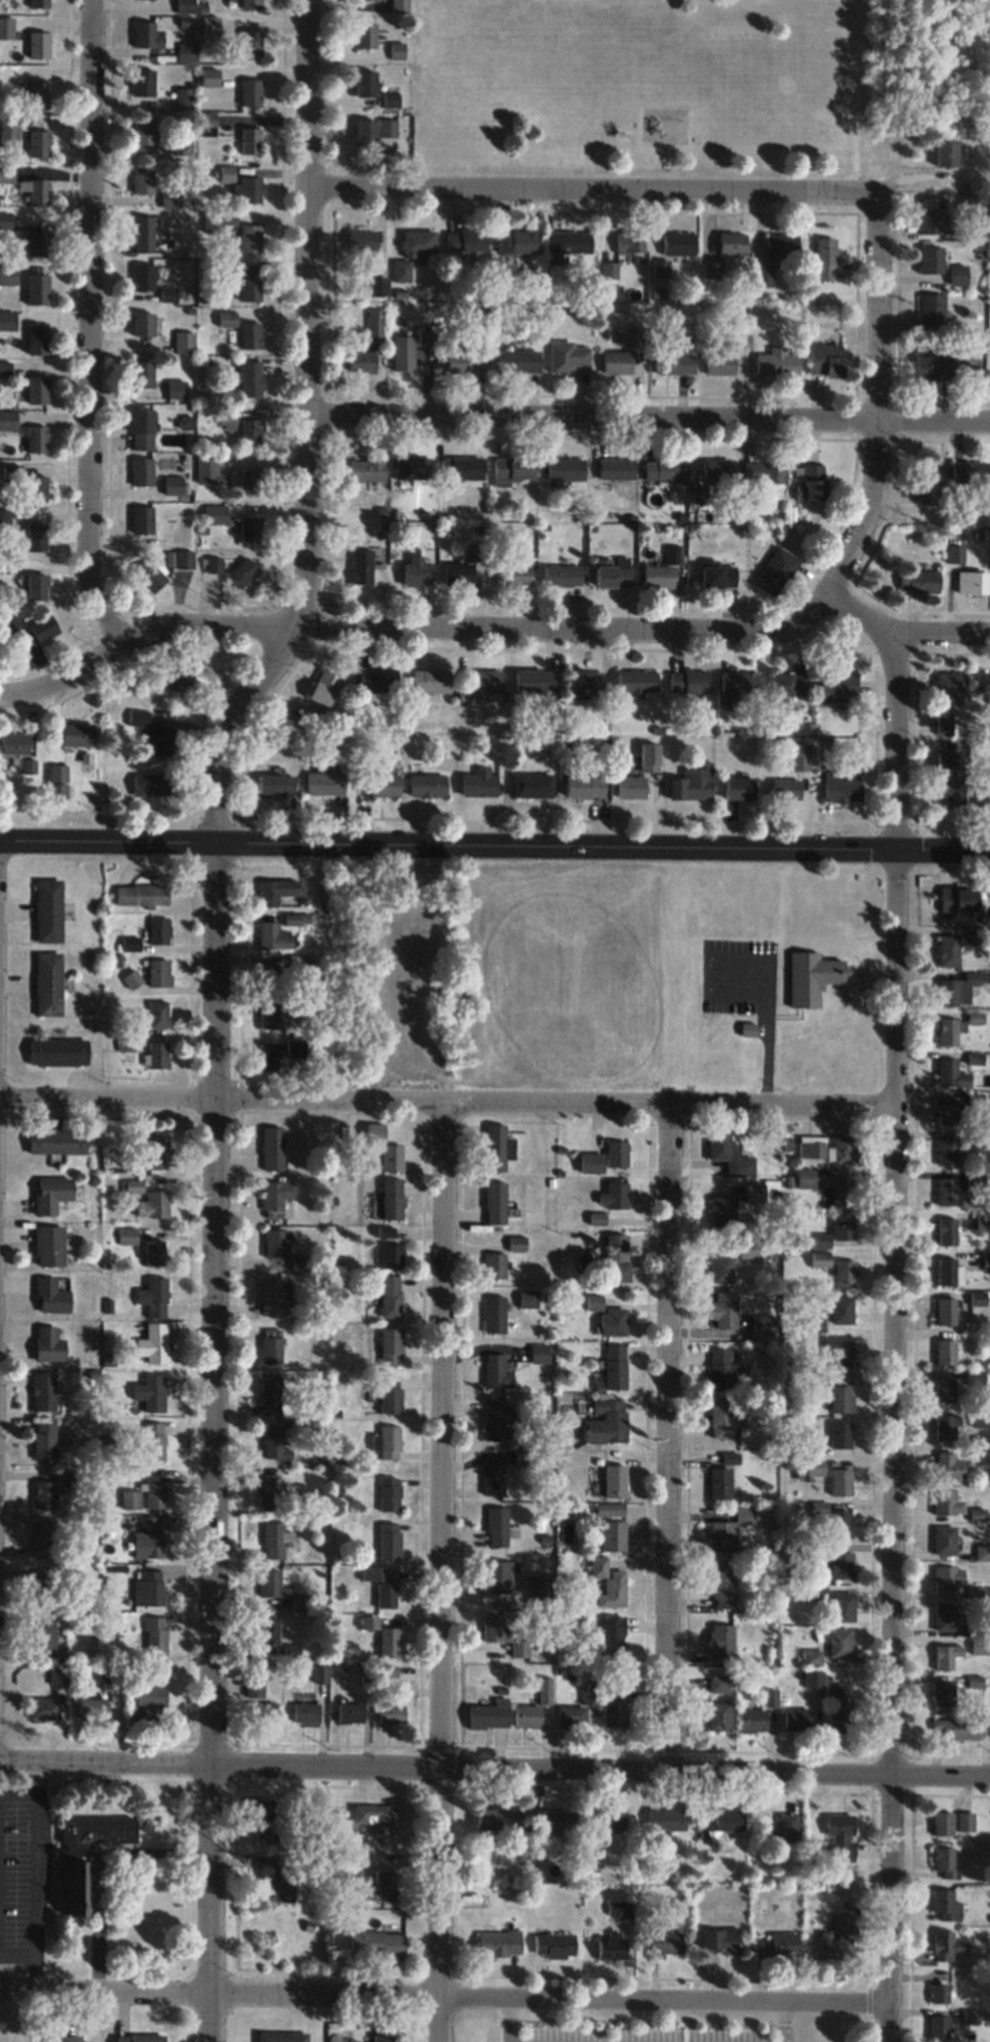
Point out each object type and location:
building: (38, 3)
building: (251, 4)
building: (184, 6)
building: (399, 6)
building: (209, 24)
building: (6, 30)
building: (149, 35)
building: (365, 35)
building: (250, 43)
building: (37, 44)
building: (396, 50)
building: (185, 51)
building: (208, 76)
building: (143, 81)
building: (365, 83)
building: (249, 92)
building: (37, 93)
building: (182, 98)
building: (390, 100)
building: (386, 127)
building: (142, 130)
building: (8, 131)
building: (364, 131)
building: (249, 140)
building: (37, 142)
building: (182, 145)
building: (946, 153)
building: (5, 172)
building: (142, 179)
building: (242, 186)
road: (594, 189)
building: (34, 190)
building: (170, 197)
building: (930, 214)
building: (218, 222)
building: (167, 226)
building: (142, 233)
building: (249, 237)
building: (362, 239)
building: (465, 239)
building: (418, 240)
building: (518, 240)
building: (36, 241)
building: (569, 241)
building: (629, 241)
building: (678, 242)
building: (732, 242)
building: (781, 244)
building: (825, 258)
building: (930, 258)
building: (659, 267)
building: (712, 268)
building: (400, 269)
building: (957, 273)
building: (7, 274)
building: (141, 276)
building: (249, 281)
building: (376, 285)
building: (36, 288)
building: (166, 293)
building: (931, 311)
building: (226, 318)
building: (141, 324)
building: (374, 324)
road: (90, 329)
building: (249, 334)
building: (426, 334)
building: (627, 335)
building: (35, 340)
building: (182, 341)
building: (402, 352)
building: (565, 356)
building: (718, 359)
building: (517, 360)
building: (825, 360)
building: (360, 361)
building: (466, 361)
building: (615, 361)
building: (776, 361)
building: (672, 362)
building: (933, 366)
building: (4, 369)
building: (140, 374)
building: (248, 377)
building: (175, 389)
building: (36, 390)
road: (878, 403)
building: (226, 418)
building: (7, 420)
road: (650, 423)
building: (141, 428)
building: (249, 432)
building: (35, 439)
building: (413, 467)
building: (461, 467)
building: (562, 468)
building: (613, 468)
building: (660, 468)
building: (364, 469)
building: (509, 469)
building: (715, 469)
building: (141, 470)
building: (207, 470)
building: (761, 471)
building: (11, 472)
building: (967, 472)
building: (250, 481)
building: (811, 482)
building: (926, 483)
building: (172, 484)
building: (35, 486)
building: (697, 493)
building: (214, 513)
building: (141, 519)
building: (3, 520)
building: (248, 528)
building: (35, 536)
building: (954, 554)
building: (180, 558)
building: (211, 564)
building: (3, 565)
building: (361, 566)
building: (662, 569)
building: (610, 571)
building: (241, 572)
building: (415, 572)
building: (775, 572)
building: (457, 573)
building: (511, 574)
building: (561, 574)
building: (151, 576)
building: (717, 576)
building: (918, 581)
building: (971, 582)
building: (34, 586)
building: (12, 624)
building: (42, 628)
road: (412, 635)
road: (903, 637)
building: (376, 679)
building: (177, 680)
building: (429, 680)
building: (481, 680)
building: (533, 680)
building: (636, 681)
building: (688, 681)
building: (982, 681)
building: (584, 682)
building: (949, 684)
building: (787, 685)
building: (738, 686)
building: (838, 686)
building: (323, 687)
building: (311, 715)
building: (137, 718)
building: (943, 725)
building: (76, 735)
building: (161, 741)
building: (13, 743)
building: (799, 761)
building: (28, 766)
building: (948, 779)
building: (57, 781)
building: (479, 782)
building: (323, 783)
building: (692, 783)
building: (150, 784)
building: (274, 784)
building: (383, 784)
building: (426, 784)
building: (532, 785)
building: (584, 786)
building: (630, 787)
building: (739, 788)
building: (840, 788)
building: (785, 789)
building: (982, 794)
road: (494, 837)
building: (276, 890)
building: (141, 895)
building: (957, 897)
building: (48, 910)
building: (159, 930)
building: (976, 935)
building: (274, 936)
building: (131, 944)
building: (947, 949)
building: (158, 973)
building: (268, 974)
building: (811, 976)
building: (47, 984)
building: (956, 988)
road: (217, 1010)
building: (157, 1014)
building: (268, 1015)
building: (973, 1017)
building: (747, 1028)
building: (947, 1031)
building: (124, 1044)
building: (294, 1048)
building: (57, 1052)
building: (158, 1054)
building: (267, 1056)
building: (950, 1072)
road: (447, 1109)
building: (944, 1110)
building: (972, 1138)
building: (56, 1139)
building: (494, 1146)
building: (271, 1147)
building: (826, 1147)
building: (154, 1149)
building: (945, 1150)
building: (616, 1152)
building: (728, 1152)
building: (389, 1156)
building: (590, 1161)
building: (976, 1176)
building: (804, 1177)
building: (841, 1190)
building: (945, 1190)
building: (50, 1193)
building: (613, 1194)
building: (274, 1196)
building: (390, 1197)
building: (494, 1202)
building: (152, 1203)
building: (733, 1204)
building: (982, 1219)
building: (842, 1225)
building: (945, 1230)
building: (125, 1235)
building: (615, 1239)
building: (820, 1239)
building: (273, 1242)
building: (516, 1242)
building: (48, 1244)
building: (751, 1248)
building: (153, 1251)
building: (389, 1254)
building: (819, 1258)
building: (985, 1260)
building: (299, 1261)
building: (616, 1264)
building: (494, 1265)
building: (720, 1267)
building: (948, 1270)
building: (843, 1272)
building: (389, 1294)
building: (50, 1295)
building: (152, 1296)
building: (274, 1297)
building: (976, 1297)
building: (593, 1302)
building: (723, 1308)
building: (839, 1308)
building: (944, 1310)
building: (493, 1313)
building: (614, 1320)
building: (762, 1325)
road: (892, 1338)
building: (47, 1343)
building: (270, 1345)
building: (389, 1345)
building: (155, 1347)
building: (837, 1349)
building: (944, 1351)
building: (615, 1366)
building: (721, 1369)
building: (494, 1371)
building: (974, 1378)
building: (944, 1389)
building: (42, 1390)
building: (148, 1393)
building: (270, 1393)
building: (389, 1395)
building: (841, 1397)
building: (720, 1417)
building: (496, 1419)
building: (980, 1419)
building: (606, 1421)
building: (945, 1426)
building: (840, 1433)
road: (668, 1437)
building: (43, 1440)
building: (151, 1441)
building: (388, 1441)
building: (273, 1442)
building: (522, 1456)
building: (729, 1457)
building: (948, 1466)
building: (64, 1477)
building: (492, 1478)
building: (614, 1480)
building: (840, 1481)
building: (719, 1482)
building: (154, 1491)
building: (269, 1491)
building: (42, 1493)
building: (388, 1493)
building: (946, 1501)
building: (608, 1509)
building: (832, 1519)
building: (496, 1526)
building: (727, 1530)
building: (613, 1535)
building: (148, 1536)
building: (41, 1537)
building: (274, 1539)
building: (944, 1539)
building: (388, 1540)
building: (982, 1551)
building: (841, 1564)
road: (440, 1575)
building: (496, 1575)
building: (947, 1576)
building: (607, 1582)
building: (270, 1583)
building: (380, 1585)
building: (722, 1585)
building: (147, 1587)
building: (538, 1588)
building: (42, 1590)
building: (974, 1591)
building: (299, 1601)
building: (842, 1606)
building: (944, 1615)
building: (268, 1629)
building: (41, 1630)
building: (502, 1634)
building: (153, 1635)
building: (382, 1635)
building: (976, 1638)
building: (612, 1639)
building: (720, 1640)
building: (839, 1641)
building: (290, 1650)
building: (946, 1654)
building: (319, 1672)
building: (57, 1674)
building: (107, 1678)
building: (812, 1678)
building: (717, 1682)
building: (253, 1686)
building: (833, 1691)
building: (942, 1693)
building: (587, 1694)
building: (769, 1697)
building: (146, 1701)
building: (42, 1707)
building: (613, 1707)
building: (91, 1708)
building: (261, 1711)
building: (305, 1711)
building: (349, 1711)
building: (390, 1712)
building: (488, 1713)
building: (526, 1715)
building: (717, 1715)
building: (570, 1716)
building: (795, 1718)
building: (839, 1718)
building: (751, 1719)
building: (960, 1727)
street lamp: (95, 1745)
street lamp: (686, 1754)
street lamp: (847, 1756)
street lamp: (914, 1757)
road: (494, 1761)
road: (17, 1793)
building: (376, 1818)
building: (665, 1818)
building: (497, 1819)
building: (609, 1820)
building: (267, 1821)
building: (964, 1821)
building: (720, 1823)
building: (941, 1823)
building: (556, 1824)
building: (777, 1828)
building: (838, 1834)
building: (81, 1845)
building: (942, 1861)
road: (98, 1863)
parking lot: (22, 1867)
road: (34, 1872)
building: (273, 1878)
building: (380, 1886)
building: (945, 1904)
building: (618, 1908)
building: (836, 1938)
building: (719, 1940)
building: (375, 1942)
building: (664, 1942)
building: (499, 1943)
building: (610, 1944)
building: (554, 1945)
building: (778, 1945)
building: (946, 1945)
road: (17, 1955)
street lamp: (904, 1967)
building: (939, 1993)
road: (444, 1995)
road: (507, 2019)
road: (782, 2020)
building: (938, 2027)
road: (867, 2028)
parking lot: (639, 2035)
building: (281, 2036)
building: (139, 2037)

